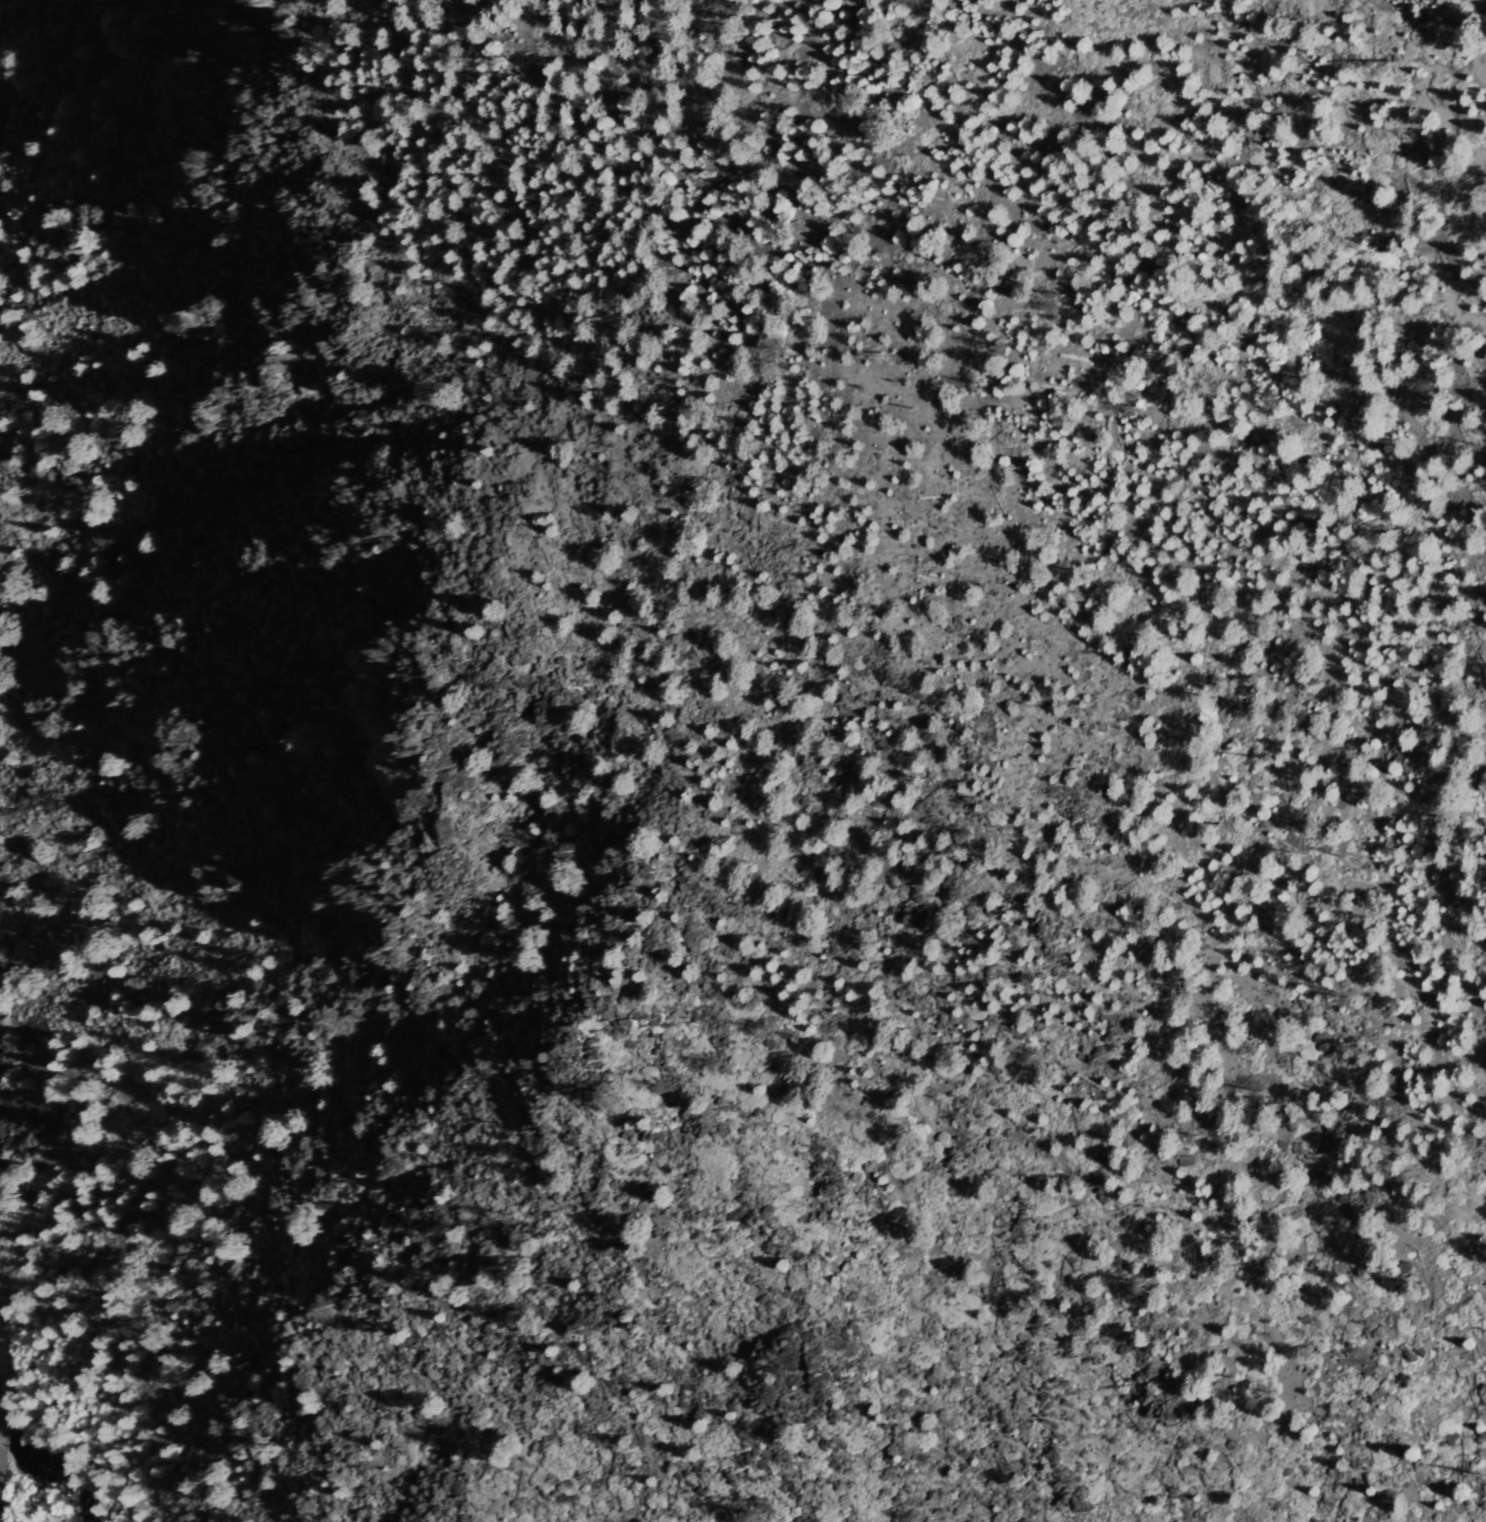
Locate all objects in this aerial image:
road: (1, 1388)
road: (1, 1402)
river: (36, 1460)

